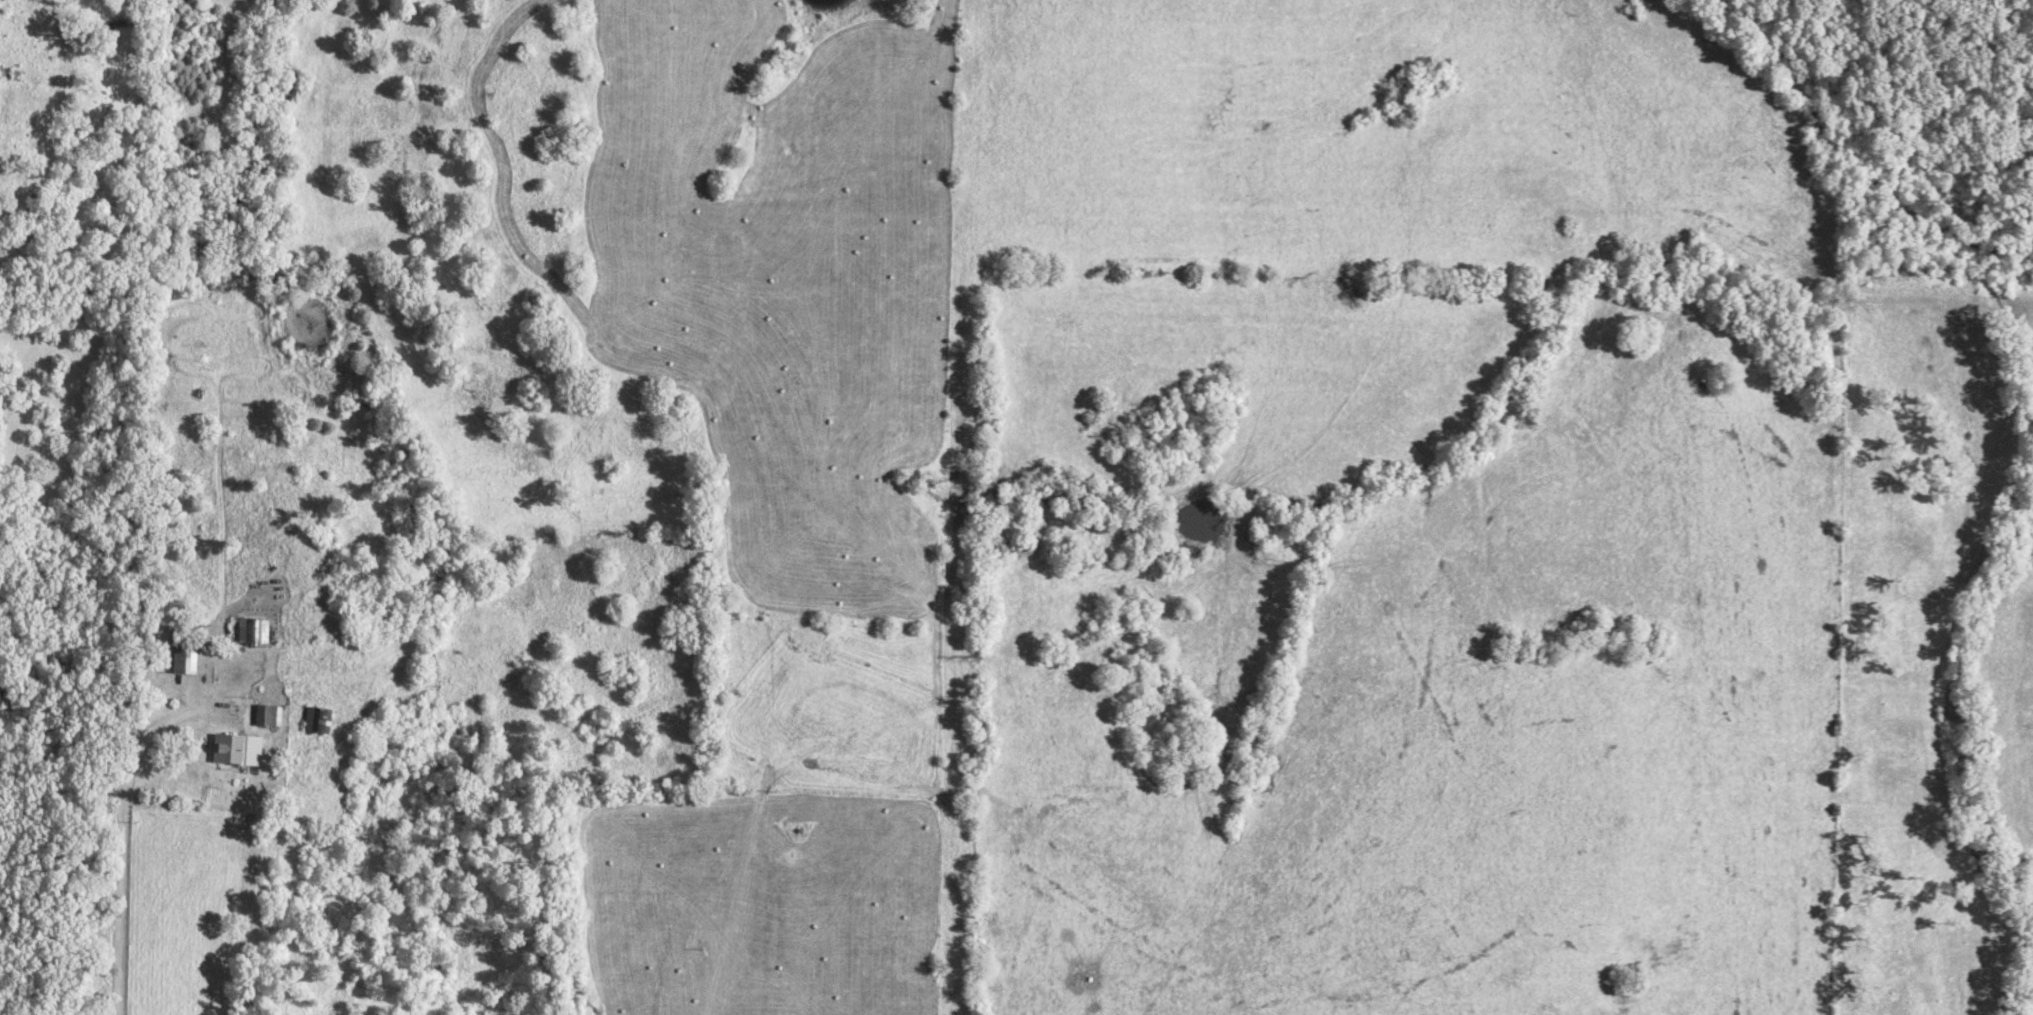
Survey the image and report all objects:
building: (258, 630)
building: (184, 656)
building: (267, 715)
building: (315, 719)
building: (228, 748)
road: (123, 821)

